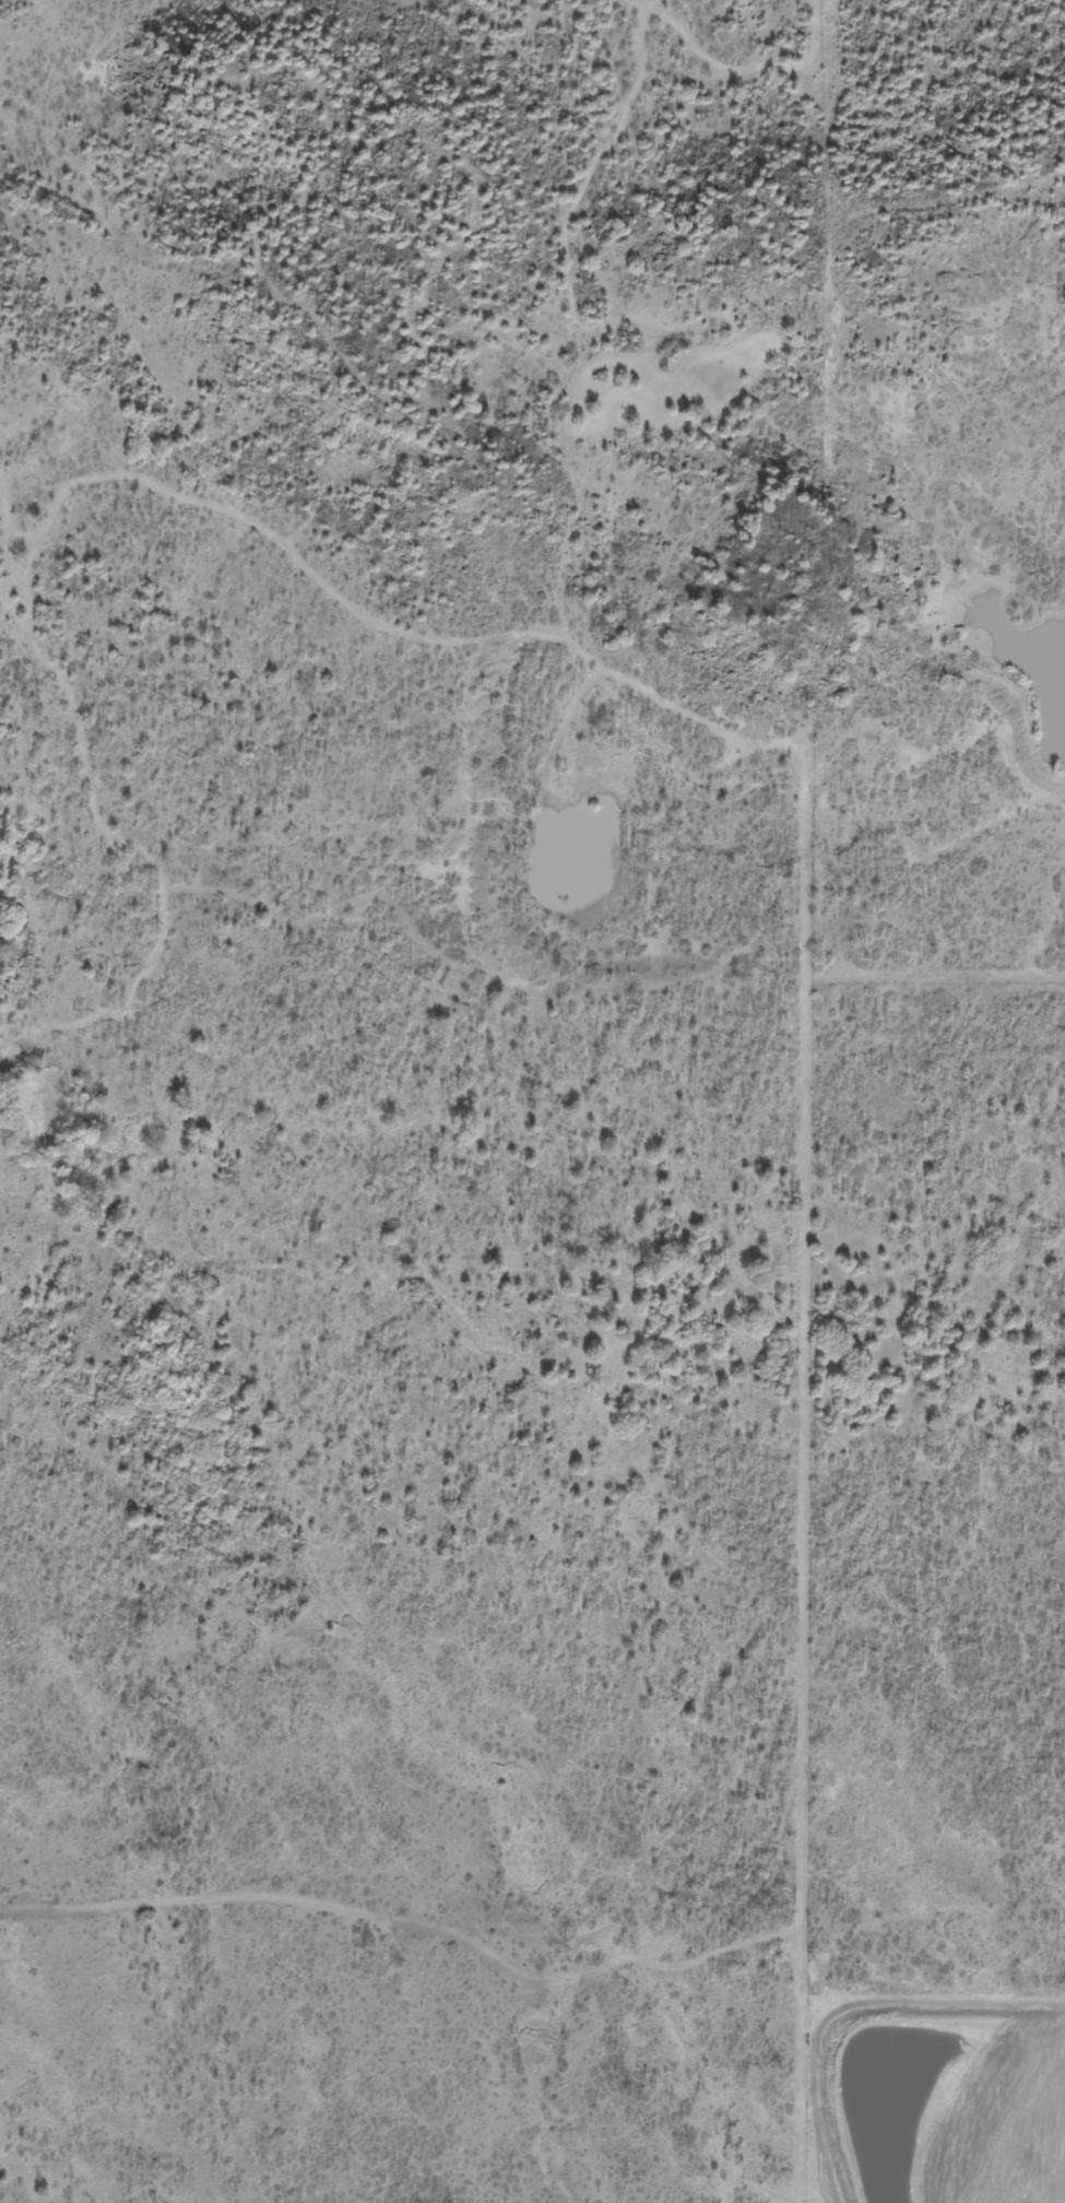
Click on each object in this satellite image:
road: (213, 1942)

